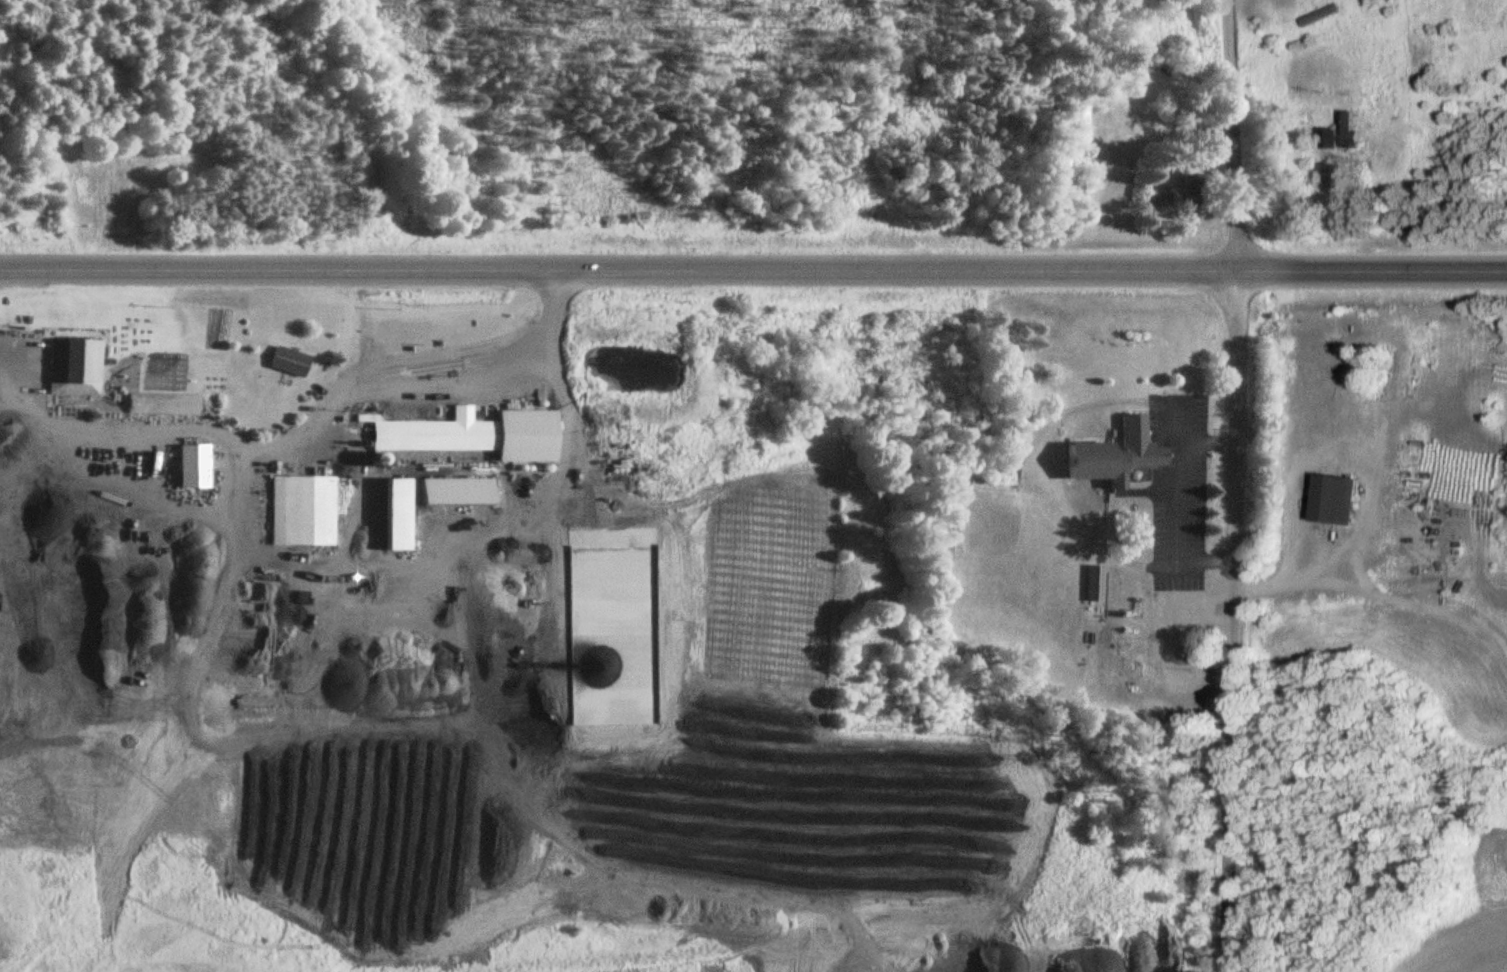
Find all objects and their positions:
building: (1321, 15)
building: (1343, 134)
building: (1192, 192)
road: (619, 269)
road: (1373, 269)
building: (74, 359)
building: (288, 361)
parking lot: (31, 374)
road: (493, 381)
road: (347, 384)
building: (1351, 393)
building: (163, 402)
parking lot: (1182, 414)
road: (1178, 425)
road: (129, 432)
building: (475, 433)
building: (1116, 456)
building: (192, 464)
road: (1047, 464)
road: (1177, 482)
road: (237, 483)
road: (1234, 485)
building: (449, 489)
building: (1335, 500)
building: (305, 509)
building: (395, 512)
parking lot: (1182, 529)
road: (286, 560)
road: (1162, 567)
building: (1097, 582)
road: (464, 755)

